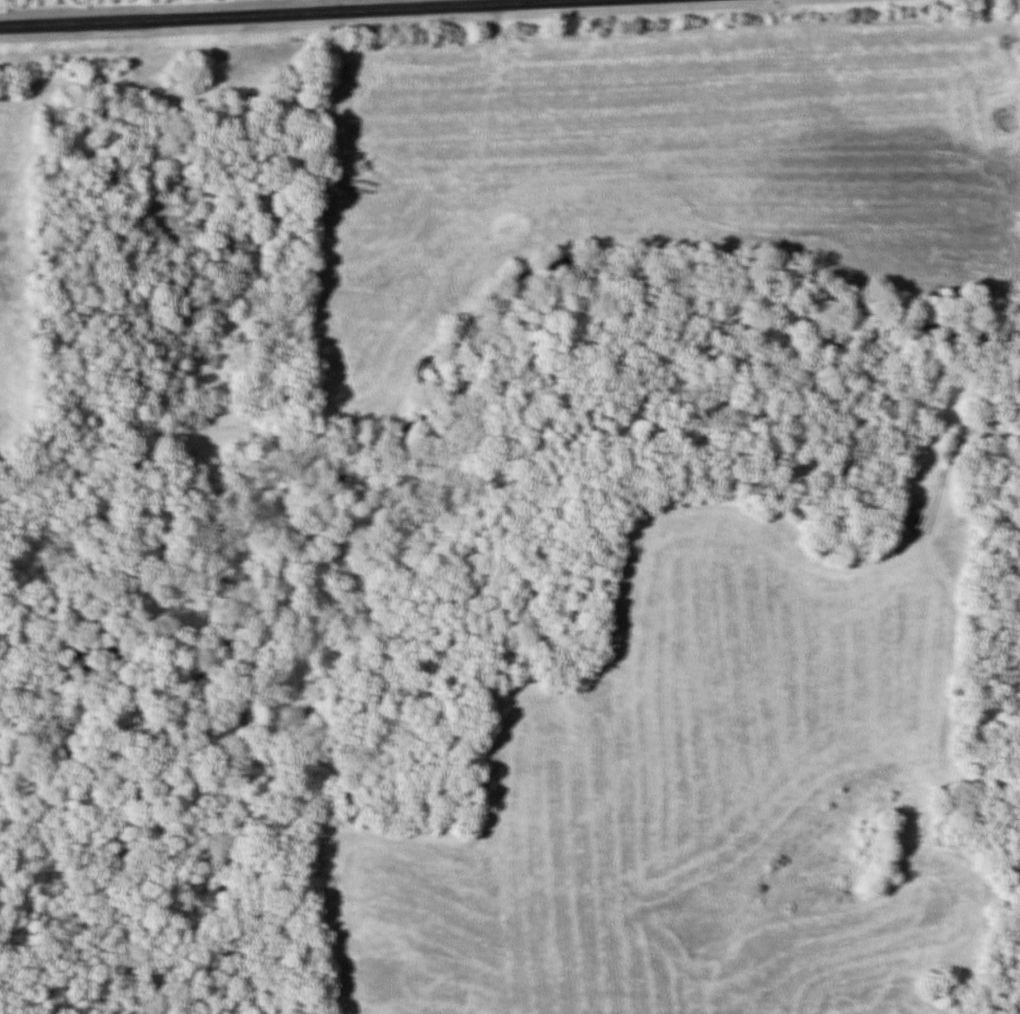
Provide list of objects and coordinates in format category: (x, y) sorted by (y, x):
road: (267, 13)

